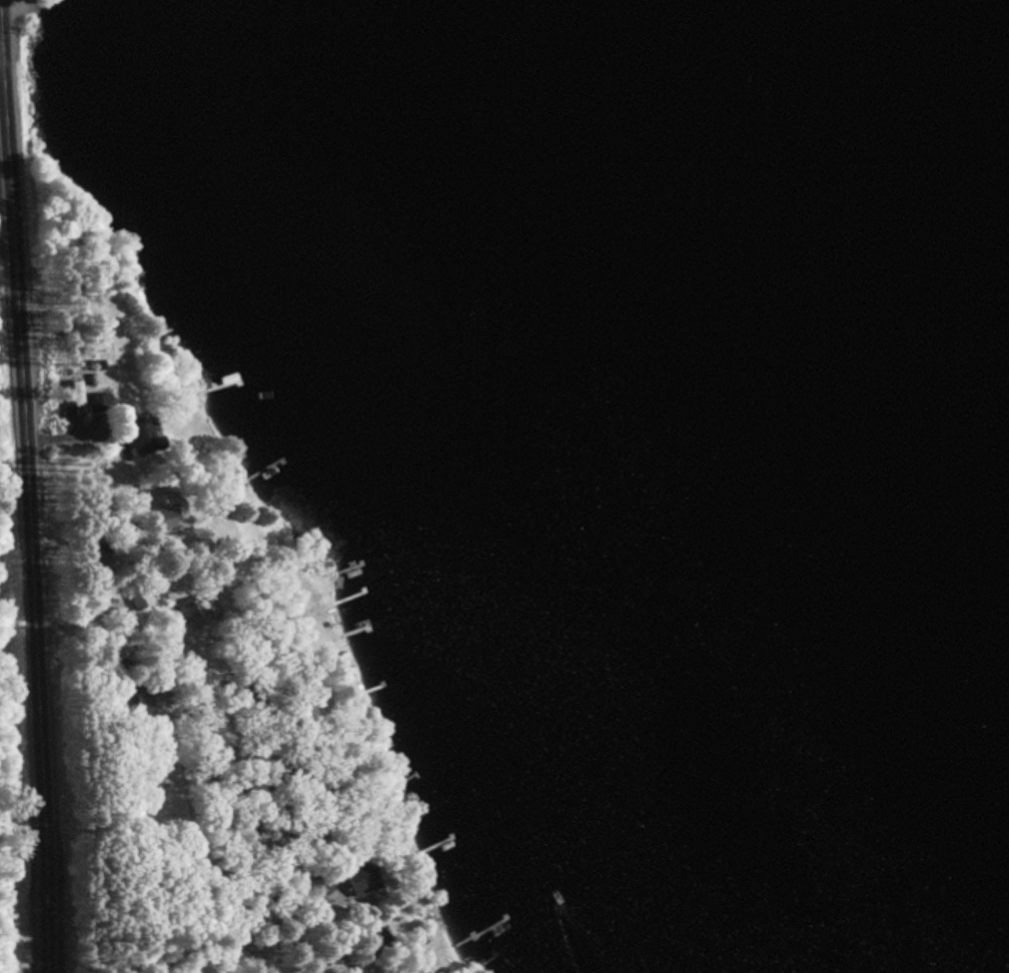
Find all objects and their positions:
building: (149, 437)
road: (27, 486)
building: (166, 520)
building: (139, 600)
road: (180, 815)
building: (365, 883)
building: (378, 939)

